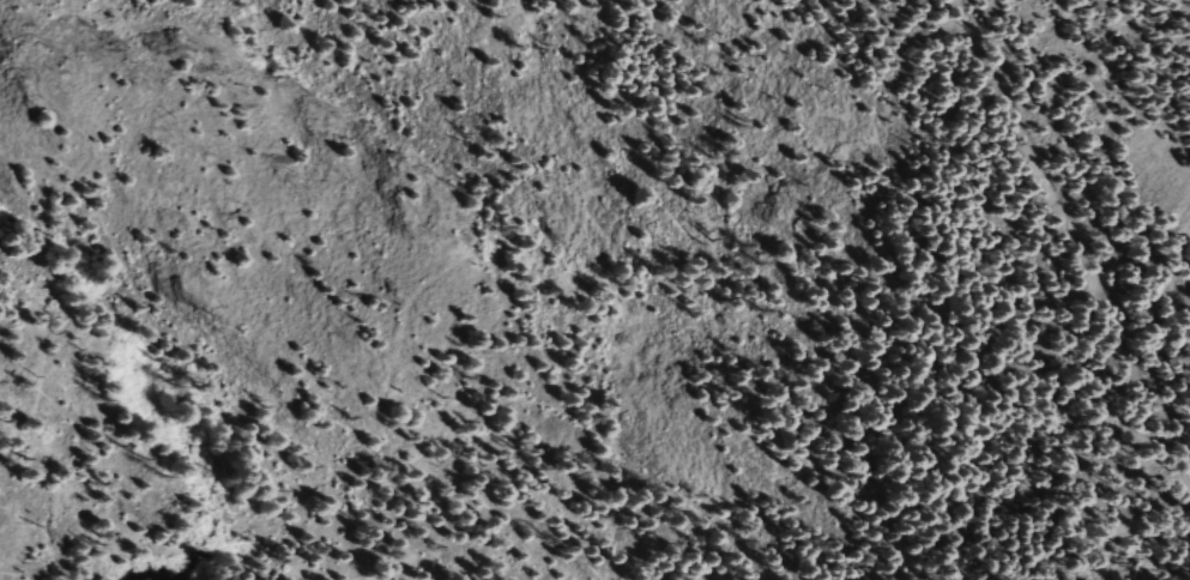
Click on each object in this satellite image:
road: (1067, 228)
road: (336, 423)
road: (1164, 519)

